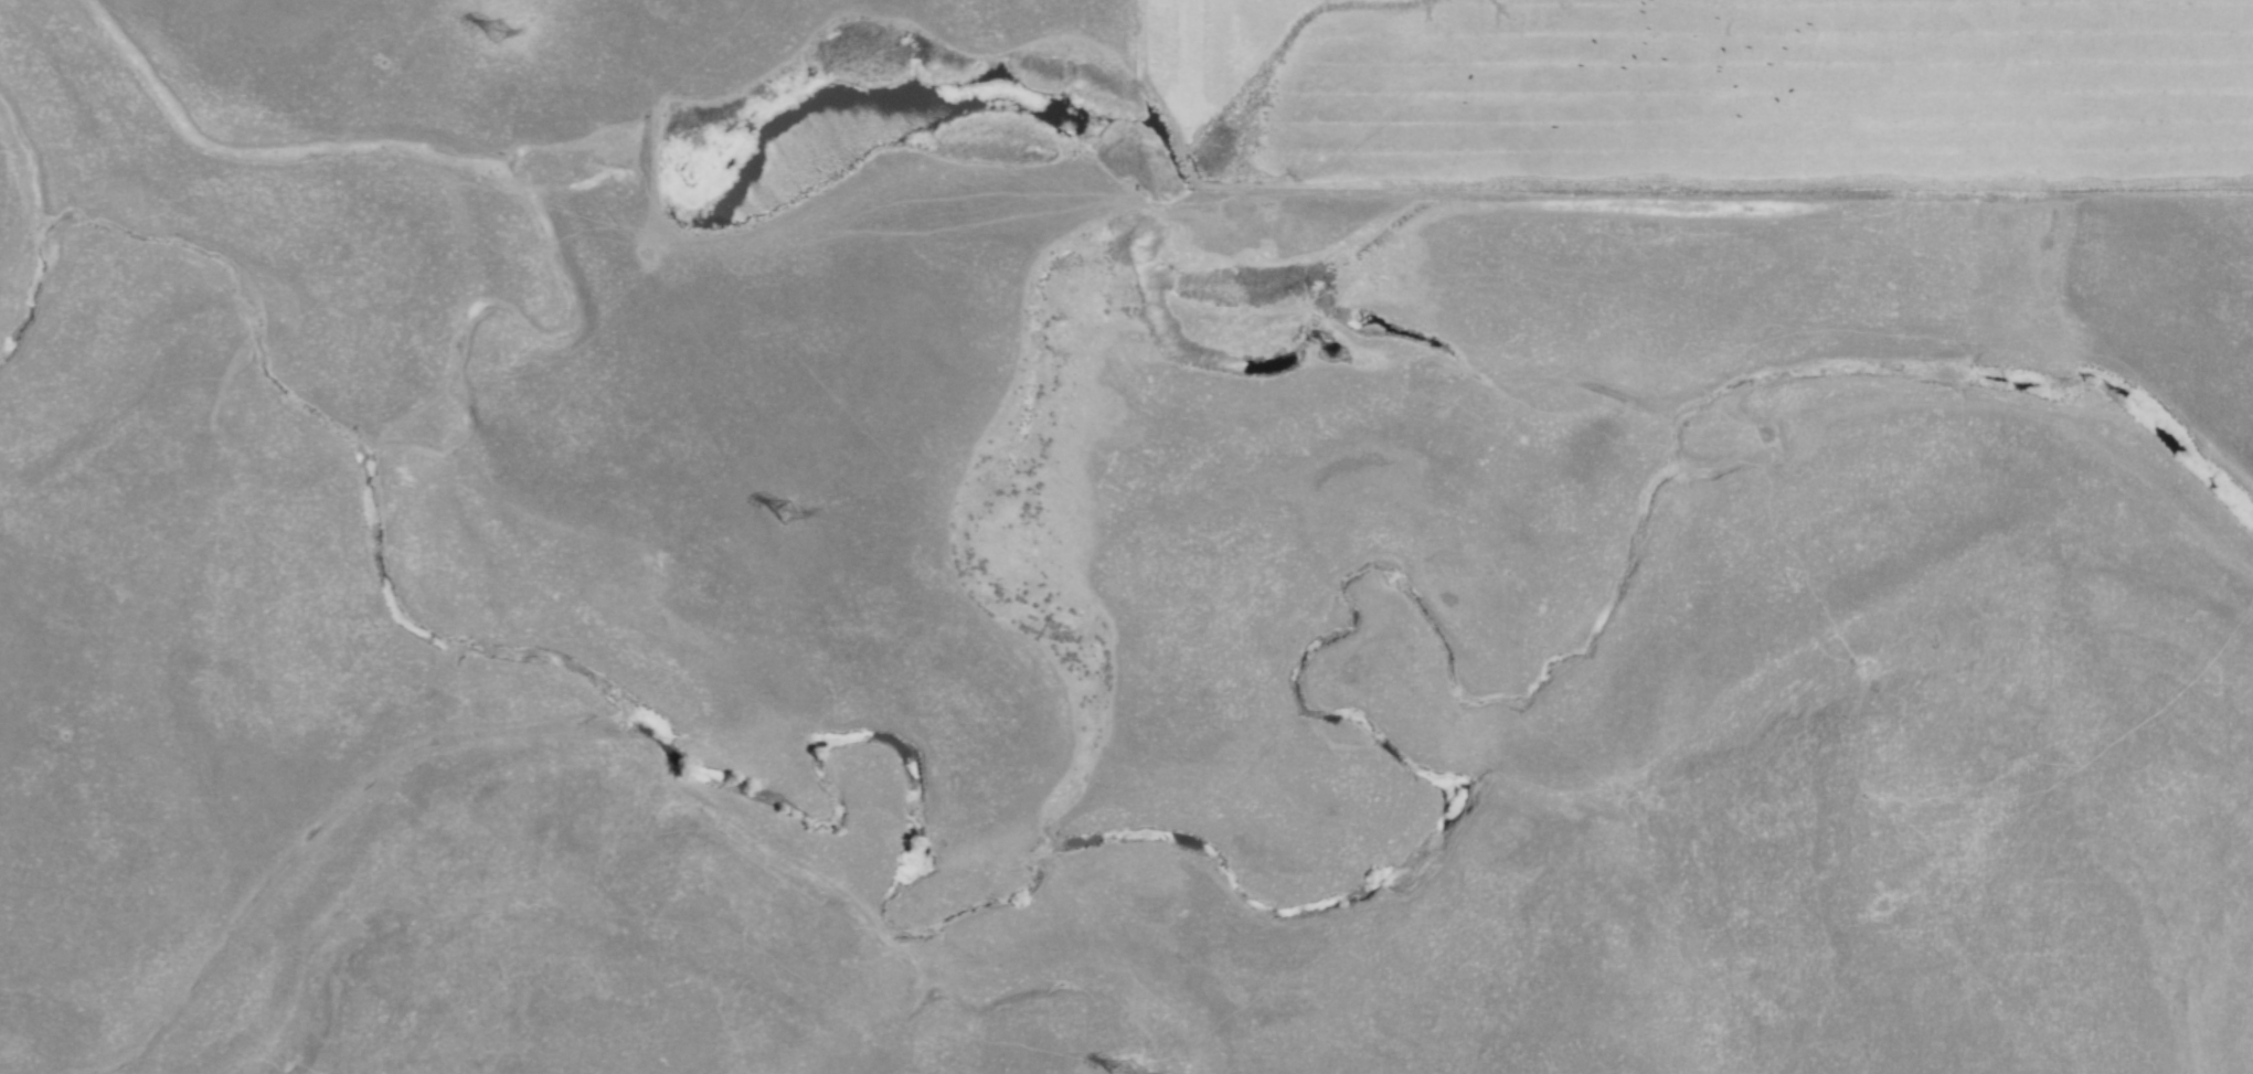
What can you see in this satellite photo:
power tower: (491, 35)
power tower: (784, 512)

